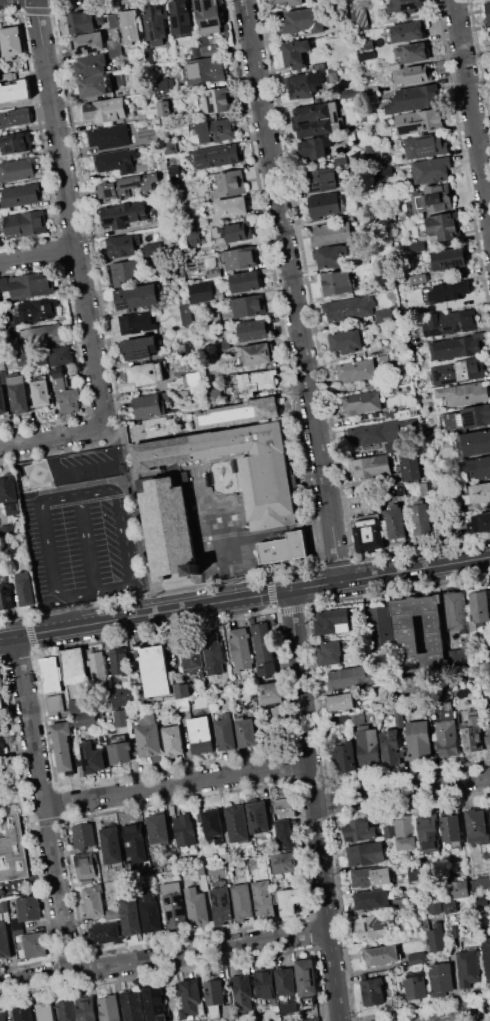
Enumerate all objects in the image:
building: (296, 3)
building: (403, 5)
building: (488, 10)
building: (208, 15)
building: (182, 16)
building: (362, 17)
building: (113, 20)
building: (302, 21)
building: (82, 22)
building: (156, 23)
building: (129, 26)
building: (407, 31)
building: (489, 31)
building: (11, 41)
building: (87, 42)
building: (366, 44)
building: (115, 48)
building: (196, 50)
building: (209, 50)
building: (412, 52)
building: (296, 53)
building: (366, 55)
building: (148, 56)
building: (91, 64)
building: (205, 70)
building: (333, 74)
building: (413, 74)
building: (303, 84)
building: (96, 85)
building: (153, 86)
building: (14, 90)
building: (351, 92)
building: (414, 99)
building: (216, 100)
building: (164, 107)
road: (471, 109)
building: (105, 110)
building: (15, 117)
building: (317, 119)
building: (419, 121)
building: (215, 131)
building: (109, 137)
building: (15, 143)
building: (425, 146)
building: (170, 147)
building: (315, 147)
building: (216, 156)
building: (117, 160)
building: (340, 160)
building: (142, 167)
building: (17, 170)
building: (430, 170)
building: (385, 171)
building: (174, 172)
building: (321, 179)
building: (227, 184)
building: (127, 188)
building: (20, 195)
building: (432, 198)
building: (324, 204)
building: (229, 206)
road: (71, 213)
building: (124, 214)
building: (25, 223)
building: (442, 227)
building: (238, 231)
building: (330, 234)
building: (194, 237)
building: (183, 240)
building: (121, 250)
building: (151, 250)
road: (38, 252)
building: (381, 253)
building: (333, 256)
building: (241, 258)
building: (448, 258)
building: (177, 271)
building: (125, 272)
building: (213, 273)
building: (418, 278)
building: (245, 282)
building: (336, 282)
building: (4, 284)
building: (32, 285)
road: (292, 290)
building: (452, 291)
building: (136, 297)
building: (248, 306)
building: (349, 307)
building: (35, 310)
building: (186, 314)
building: (384, 315)
building: (0, 316)
building: (450, 322)
building: (0, 323)
building: (136, 323)
building: (253, 330)
building: (46, 334)
building: (346, 340)
building: (223, 344)
building: (456, 346)
building: (140, 347)
building: (190, 348)
building: (256, 353)
building: (54, 356)
building: (383, 358)
building: (21, 359)
building: (357, 370)
building: (459, 371)
building: (146, 373)
building: (255, 382)
building: (396, 388)
building: (41, 392)
building: (212, 392)
building: (65, 393)
building: (464, 393)
building: (18, 394)
building: (183, 394)
building: (2, 400)
building: (362, 402)
building: (148, 406)
building: (238, 413)
building: (390, 414)
building: (468, 417)
building: (409, 423)
building: (154, 426)
building: (374, 432)
road: (53, 436)
building: (476, 442)
building: (392, 447)
building: (410, 466)
building: (371, 467)
building: (478, 468)
building: (423, 488)
building: (8, 490)
building: (400, 490)
building: (478, 493)
road: (74, 494)
building: (268, 494)
building: (365, 500)
road: (89, 501)
road: (138, 512)
building: (421, 518)
building: (395, 522)
building: (480, 523)
building: (6, 529)
building: (368, 533)
building: (167, 535)
road: (90, 541)
building: (284, 547)
road: (228, 551)
road: (415, 568)
road: (314, 585)
building: (25, 588)
road: (102, 590)
road: (141, 598)
building: (6, 599)
building: (479, 609)
road: (74, 610)
building: (457, 611)
road: (144, 613)
building: (326, 622)
building: (380, 623)
building: (406, 634)
building: (242, 648)
building: (264, 649)
building: (329, 653)
building: (213, 654)
building: (461, 654)
building: (191, 656)
building: (119, 661)
building: (74, 665)
building: (97, 665)
building: (154, 670)
building: (51, 675)
building: (349, 677)
building: (1, 680)
building: (182, 689)
building: (272, 693)
building: (122, 695)
building: (339, 702)
building: (55, 703)
building: (177, 705)
building: (1, 706)
building: (276, 711)
building: (83, 712)
building: (397, 716)
building: (119, 717)
building: (357, 717)
building: (339, 719)
building: (0, 730)
building: (245, 731)
building: (225, 732)
building: (447, 733)
building: (201, 734)
building: (472, 735)
building: (488, 736)
building: (149, 737)
building: (172, 740)
building: (419, 740)
building: (2, 744)
building: (63, 745)
building: (366, 745)
building: (390, 747)
building: (120, 752)
building: (344, 756)
building: (92, 758)
road: (176, 785)
road: (401, 790)
building: (284, 801)
road: (44, 803)
road: (313, 805)
building: (259, 817)
building: (237, 823)
building: (212, 825)
building: (477, 826)
building: (159, 828)
building: (186, 829)
building: (451, 829)
building: (359, 830)
building: (389, 831)
building: (405, 832)
building: (428, 832)
building: (83, 834)
building: (284, 834)
building: (135, 843)
building: (111, 845)
building: (12, 849)
building: (365, 853)
building: (284, 862)
building: (86, 865)
building: (414, 872)
building: (371, 876)
building: (481, 882)
building: (455, 889)
building: (264, 898)
building: (370, 899)
building: (290, 900)
building: (93, 901)
building: (242, 901)
building: (399, 902)
building: (3, 904)
building: (173, 905)
building: (221, 905)
building: (196, 906)
building: (450, 906)
building: (28, 908)
building: (435, 908)
building: (149, 911)
building: (111, 914)
building: (131, 920)
building: (373, 925)
building: (422, 925)
building: (16, 927)
building: (104, 931)
building: (435, 937)
building: (4, 941)
building: (34, 945)
building: (382, 955)
road: (164, 957)
building: (487, 957)
building: (417, 958)
building: (468, 967)
building: (306, 977)
building: (440, 978)
building: (265, 983)
building: (415, 987)
building: (241, 989)
building: (286, 989)
building: (373, 991)
building: (213, 992)
building: (190, 1000)
building: (154, 1003)
building: (132, 1006)
building: (86, 1008)
building: (109, 1008)
building: (67, 1010)
building: (227, 1011)
building: (44, 1012)
building: (23, 1013)
building: (3, 1016)
road: (461, 1016)
building: (313, 1019)

